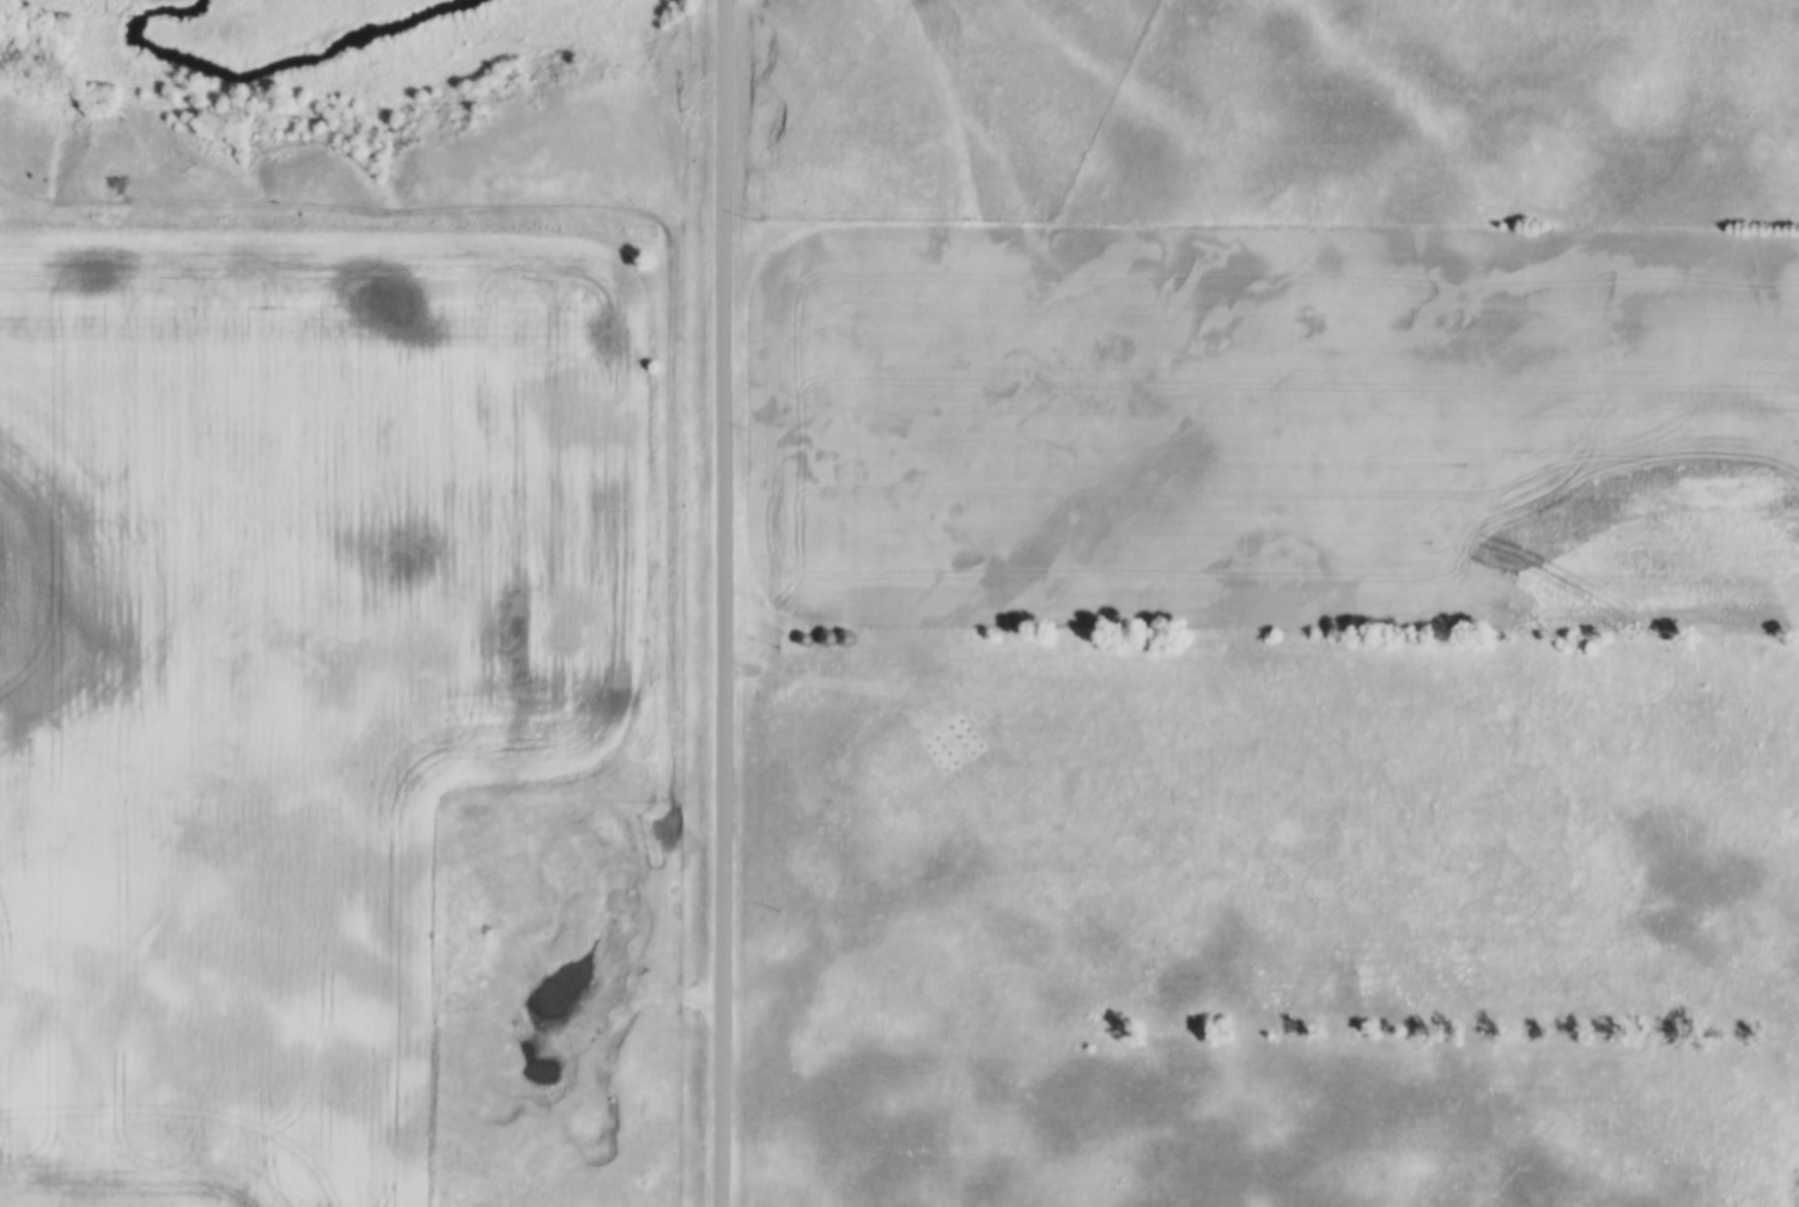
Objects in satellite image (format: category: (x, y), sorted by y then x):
road: (728, 603)

